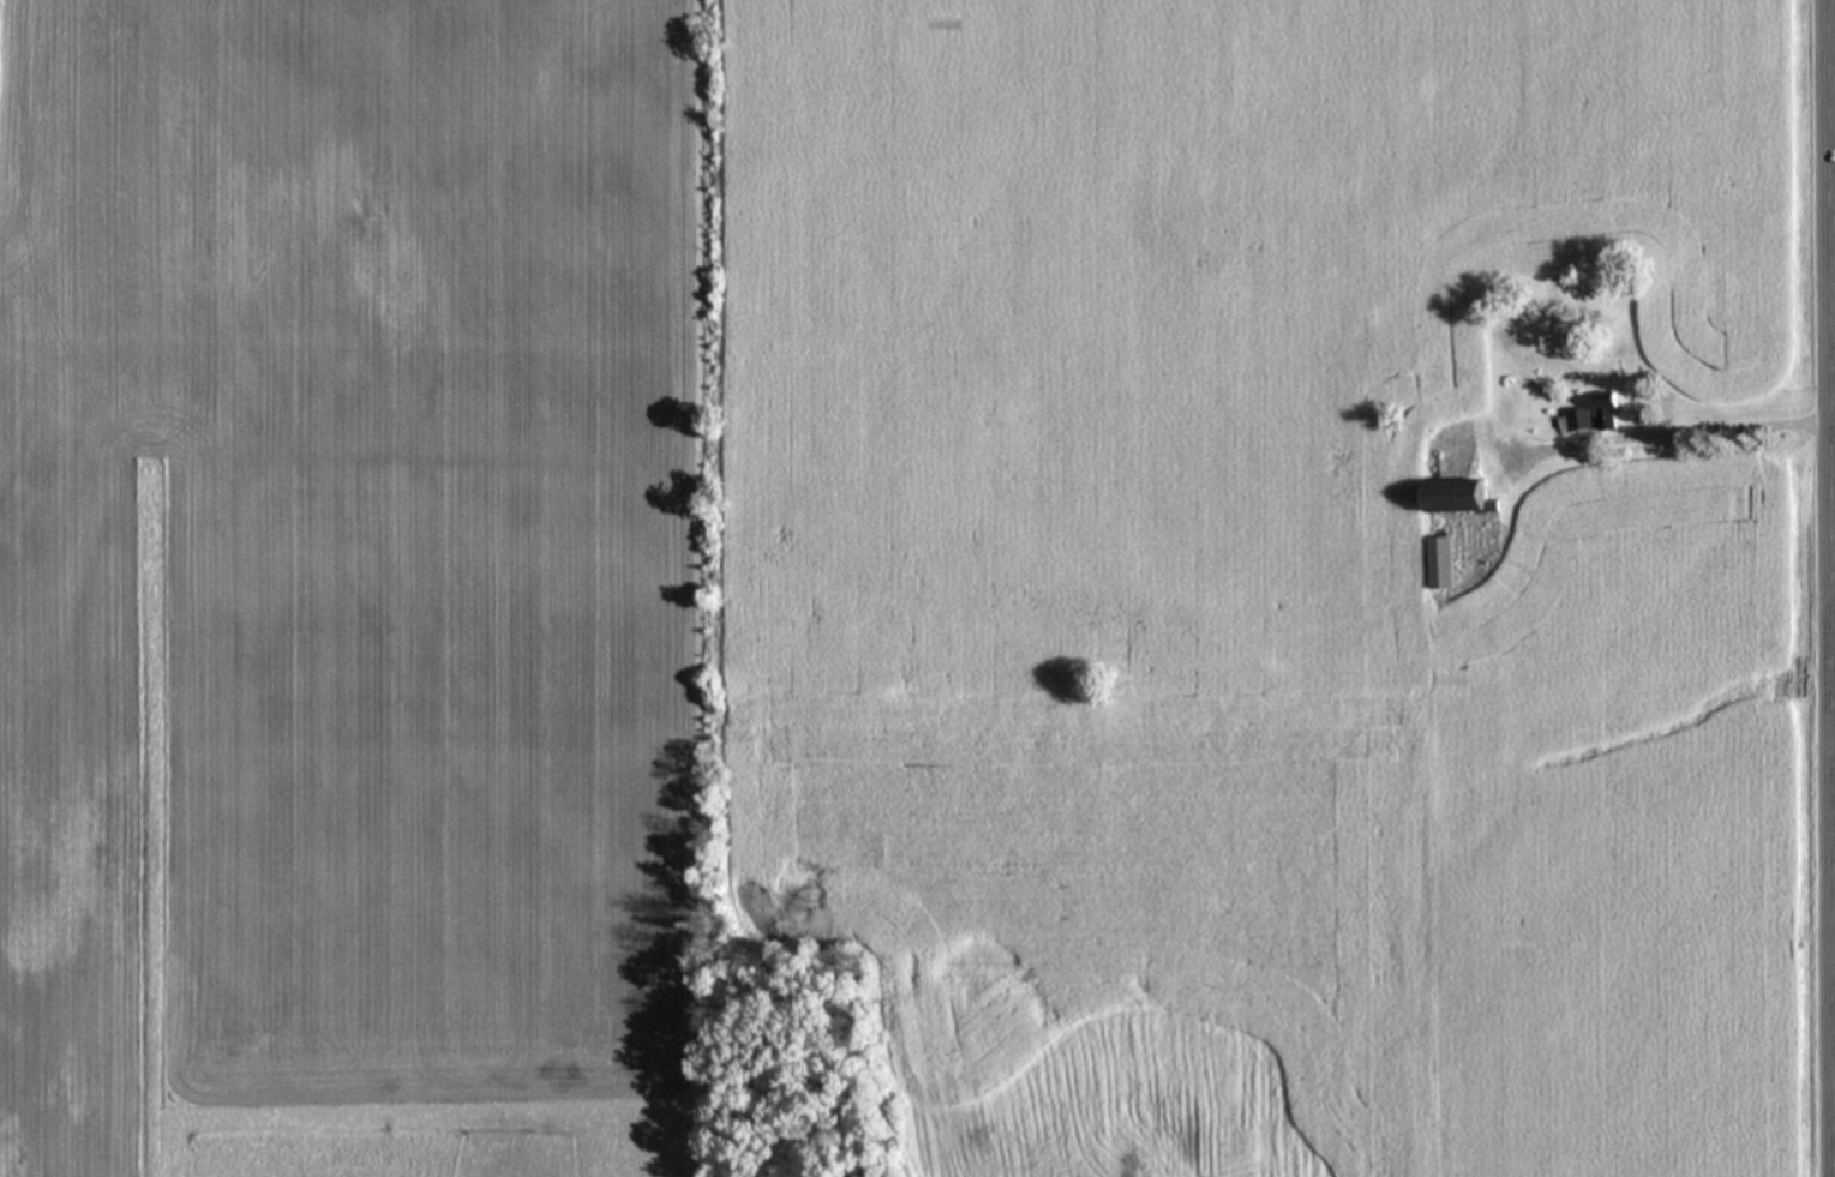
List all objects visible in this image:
building: (1599, 419)
road: (1671, 432)
road: (1831, 451)
building: (1467, 499)
building: (1447, 566)
road: (1829, 588)

